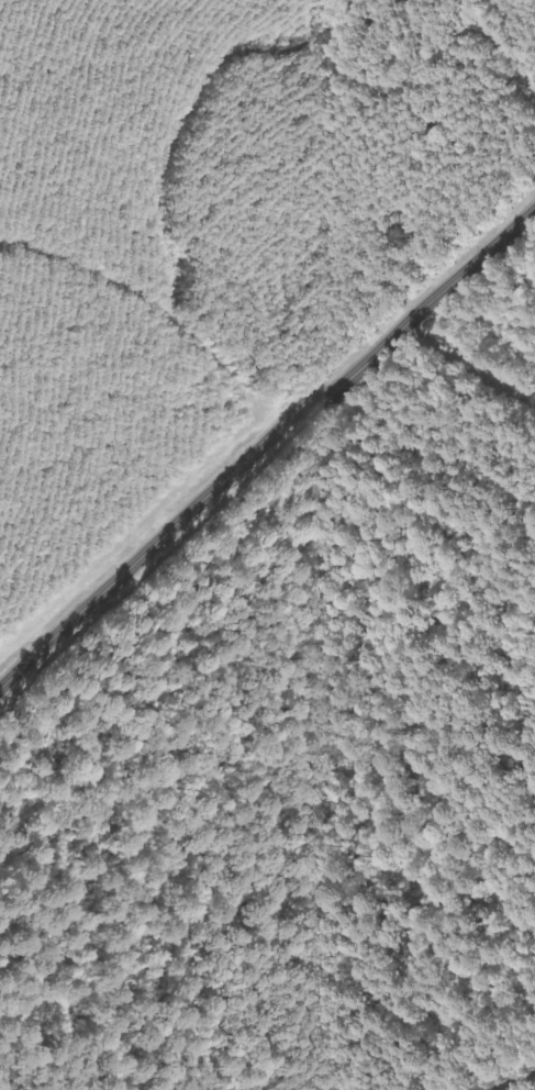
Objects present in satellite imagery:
road: (155, 298)
road: (472, 363)
road: (267, 452)

